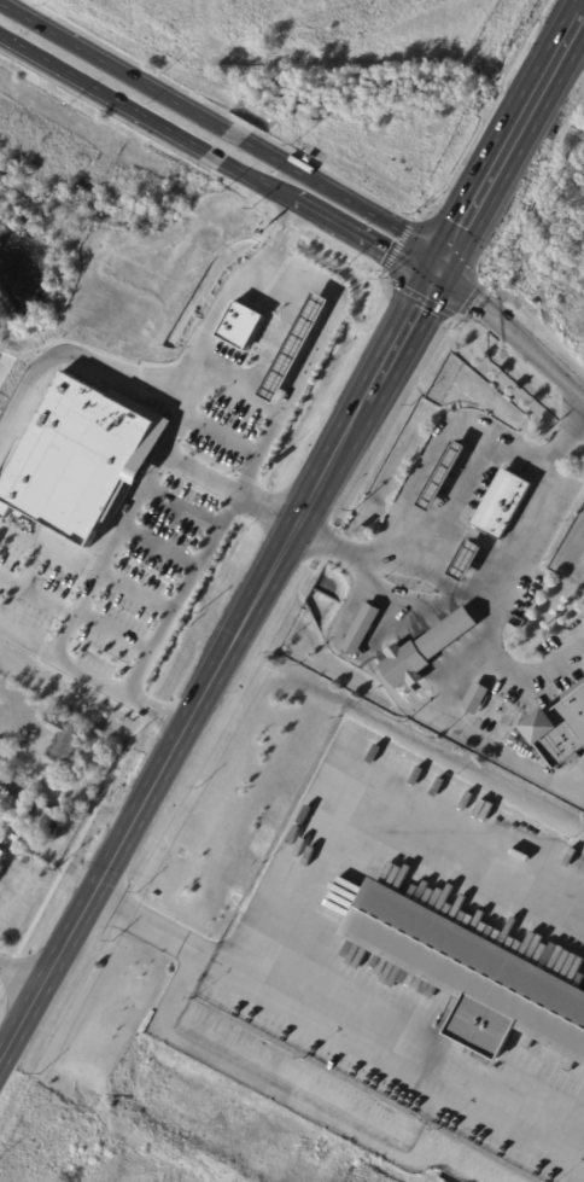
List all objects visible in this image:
road: (112, 65)
road: (103, 93)
road: (234, 134)
road: (514, 140)
road: (215, 156)
road: (267, 186)
road: (348, 196)
road: (374, 244)
traffic signals: (444, 267)
road: (474, 293)
building: (240, 322)
road: (405, 333)
building: (293, 345)
road: (270, 349)
road: (544, 354)
road: (81, 355)
road: (309, 362)
road: (562, 438)
road: (519, 453)
building: (75, 454)
road: (422, 470)
building: (445, 476)
road: (142, 491)
road: (229, 491)
road: (183, 503)
building: (503, 505)
parking lot: (138, 542)
road: (162, 543)
building: (469, 561)
road: (41, 590)
road: (138, 590)
road: (180, 593)
road: (472, 593)
building: (363, 629)
road: (116, 630)
building: (427, 650)
building: (478, 698)
road: (188, 728)
building: (560, 729)
building: (63, 740)
building: (2, 773)
road: (66, 790)
road: (369, 797)
building: (45, 817)
building: (2, 857)
road: (169, 931)
road: (18, 970)
building: (472, 976)
road: (414, 1059)

